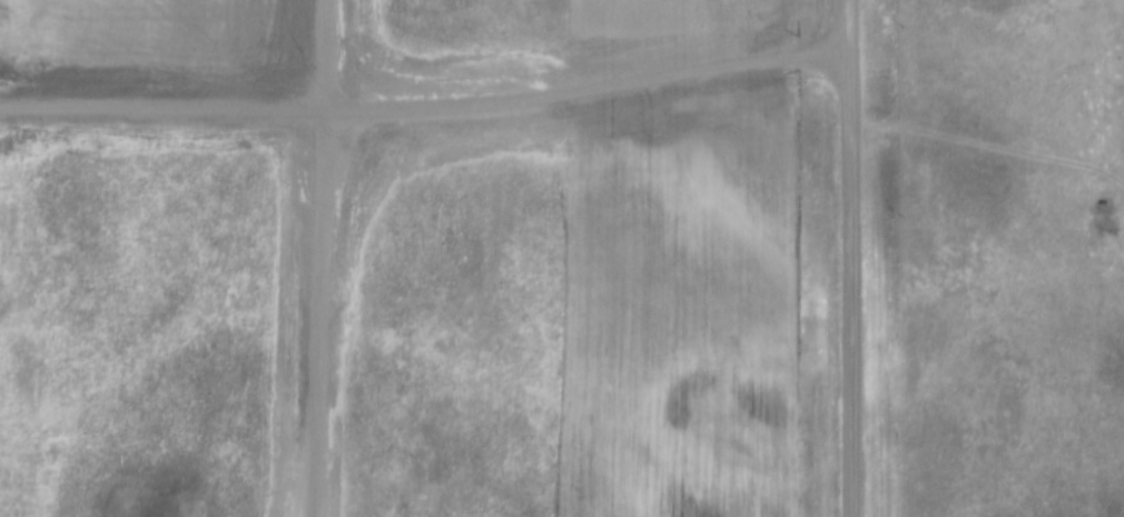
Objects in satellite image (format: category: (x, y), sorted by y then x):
road: (425, 91)
road: (304, 258)
road: (851, 258)

